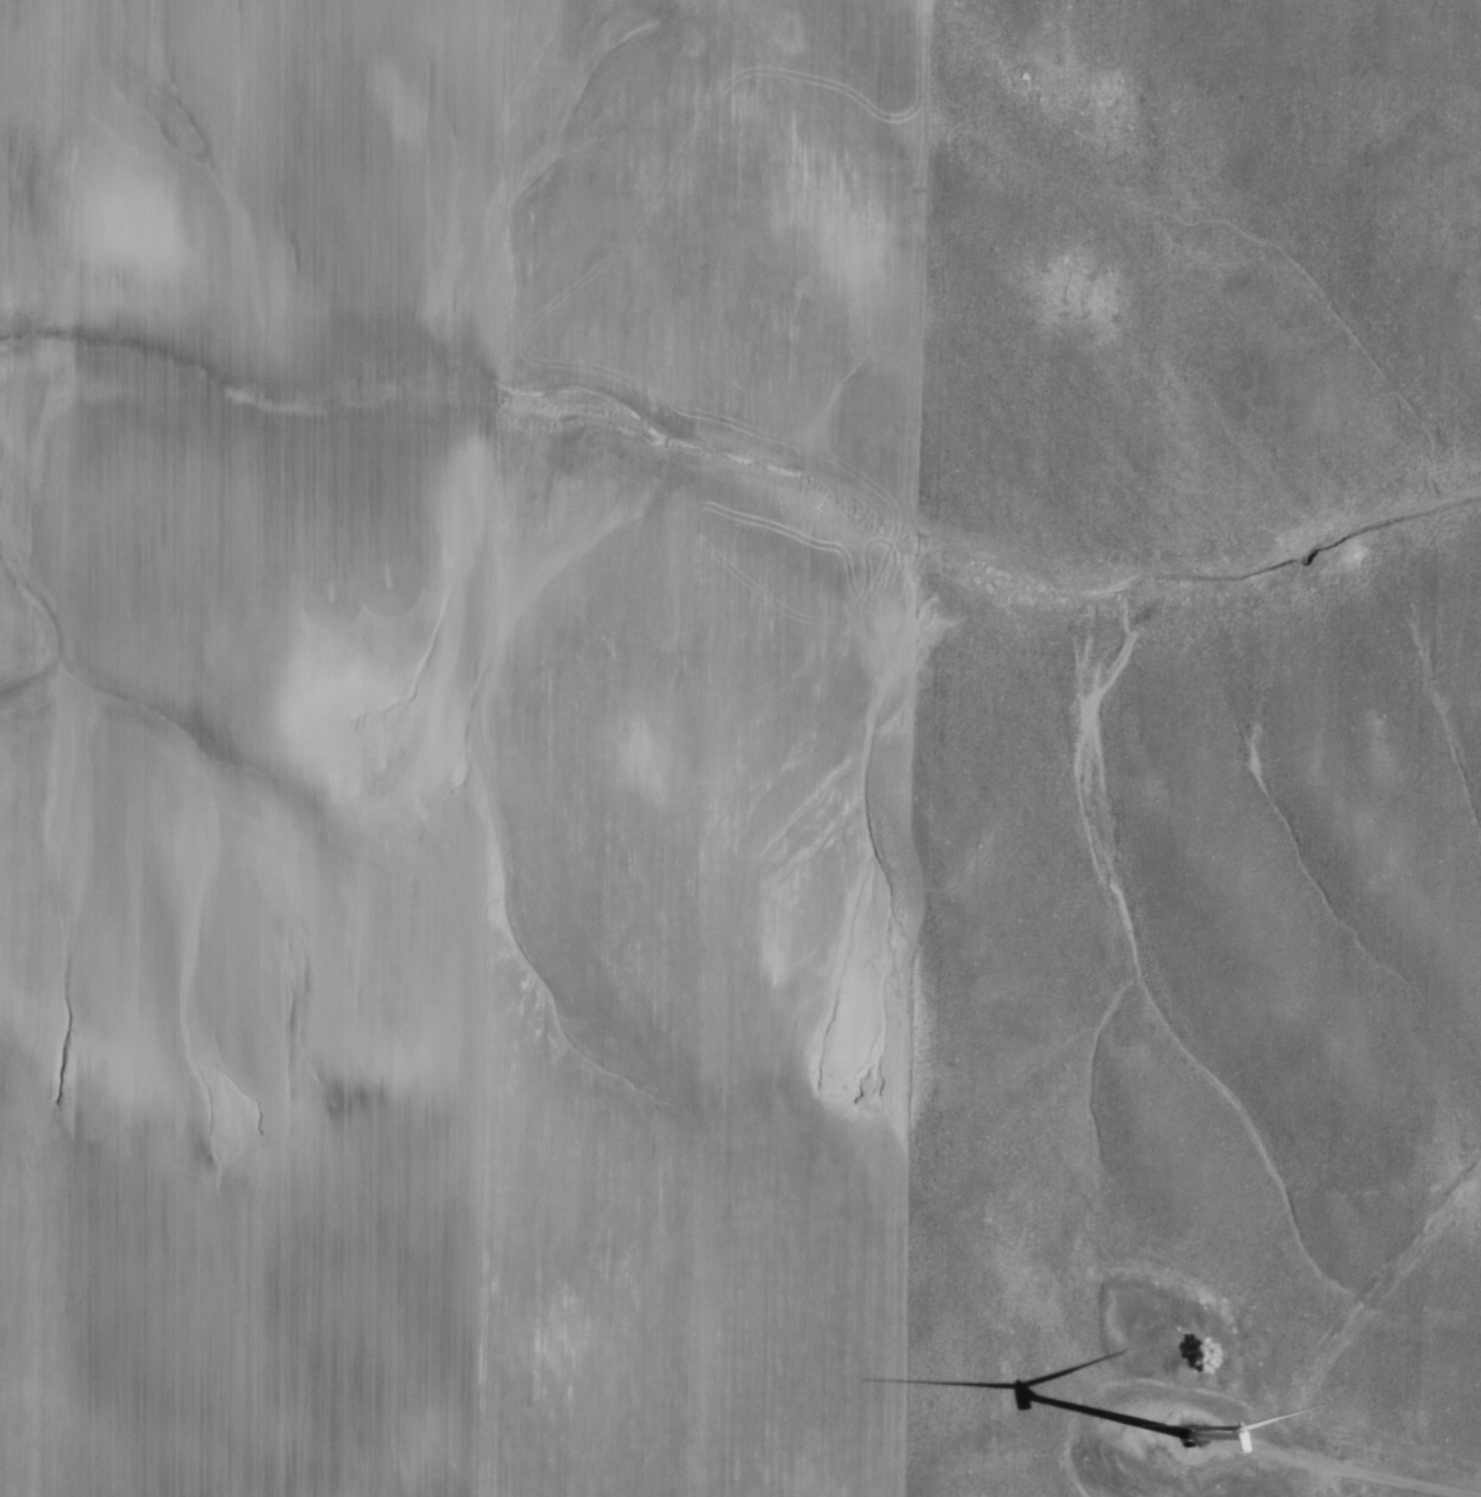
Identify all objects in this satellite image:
crop: (454, 745)
wind turbine: (1193, 1431)
road: (1377, 1469)

